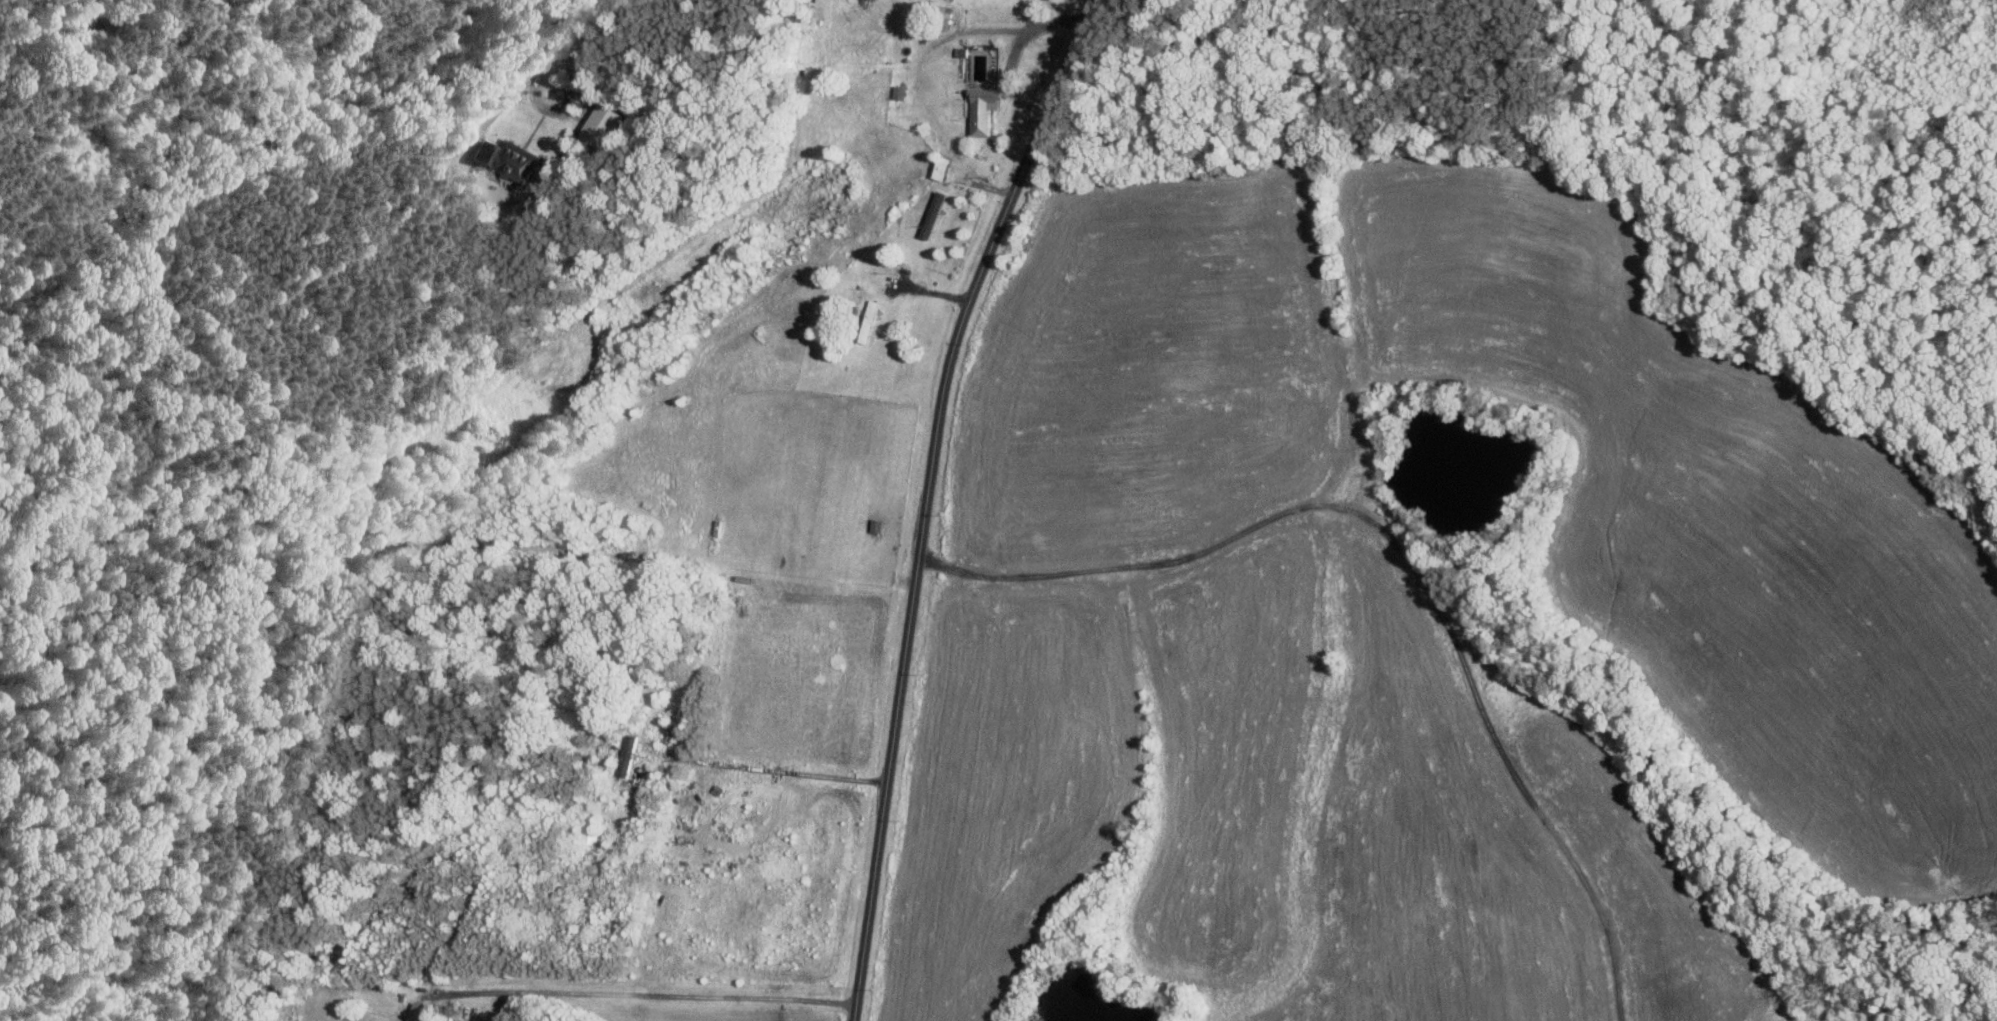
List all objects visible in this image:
road: (590, 9)
road: (1015, 51)
road: (544, 105)
road: (504, 106)
building: (982, 122)
building: (603, 124)
building: (512, 160)
building: (934, 214)
road: (926, 498)
road: (1404, 554)
building: (628, 754)
road: (769, 769)
road: (645, 992)

